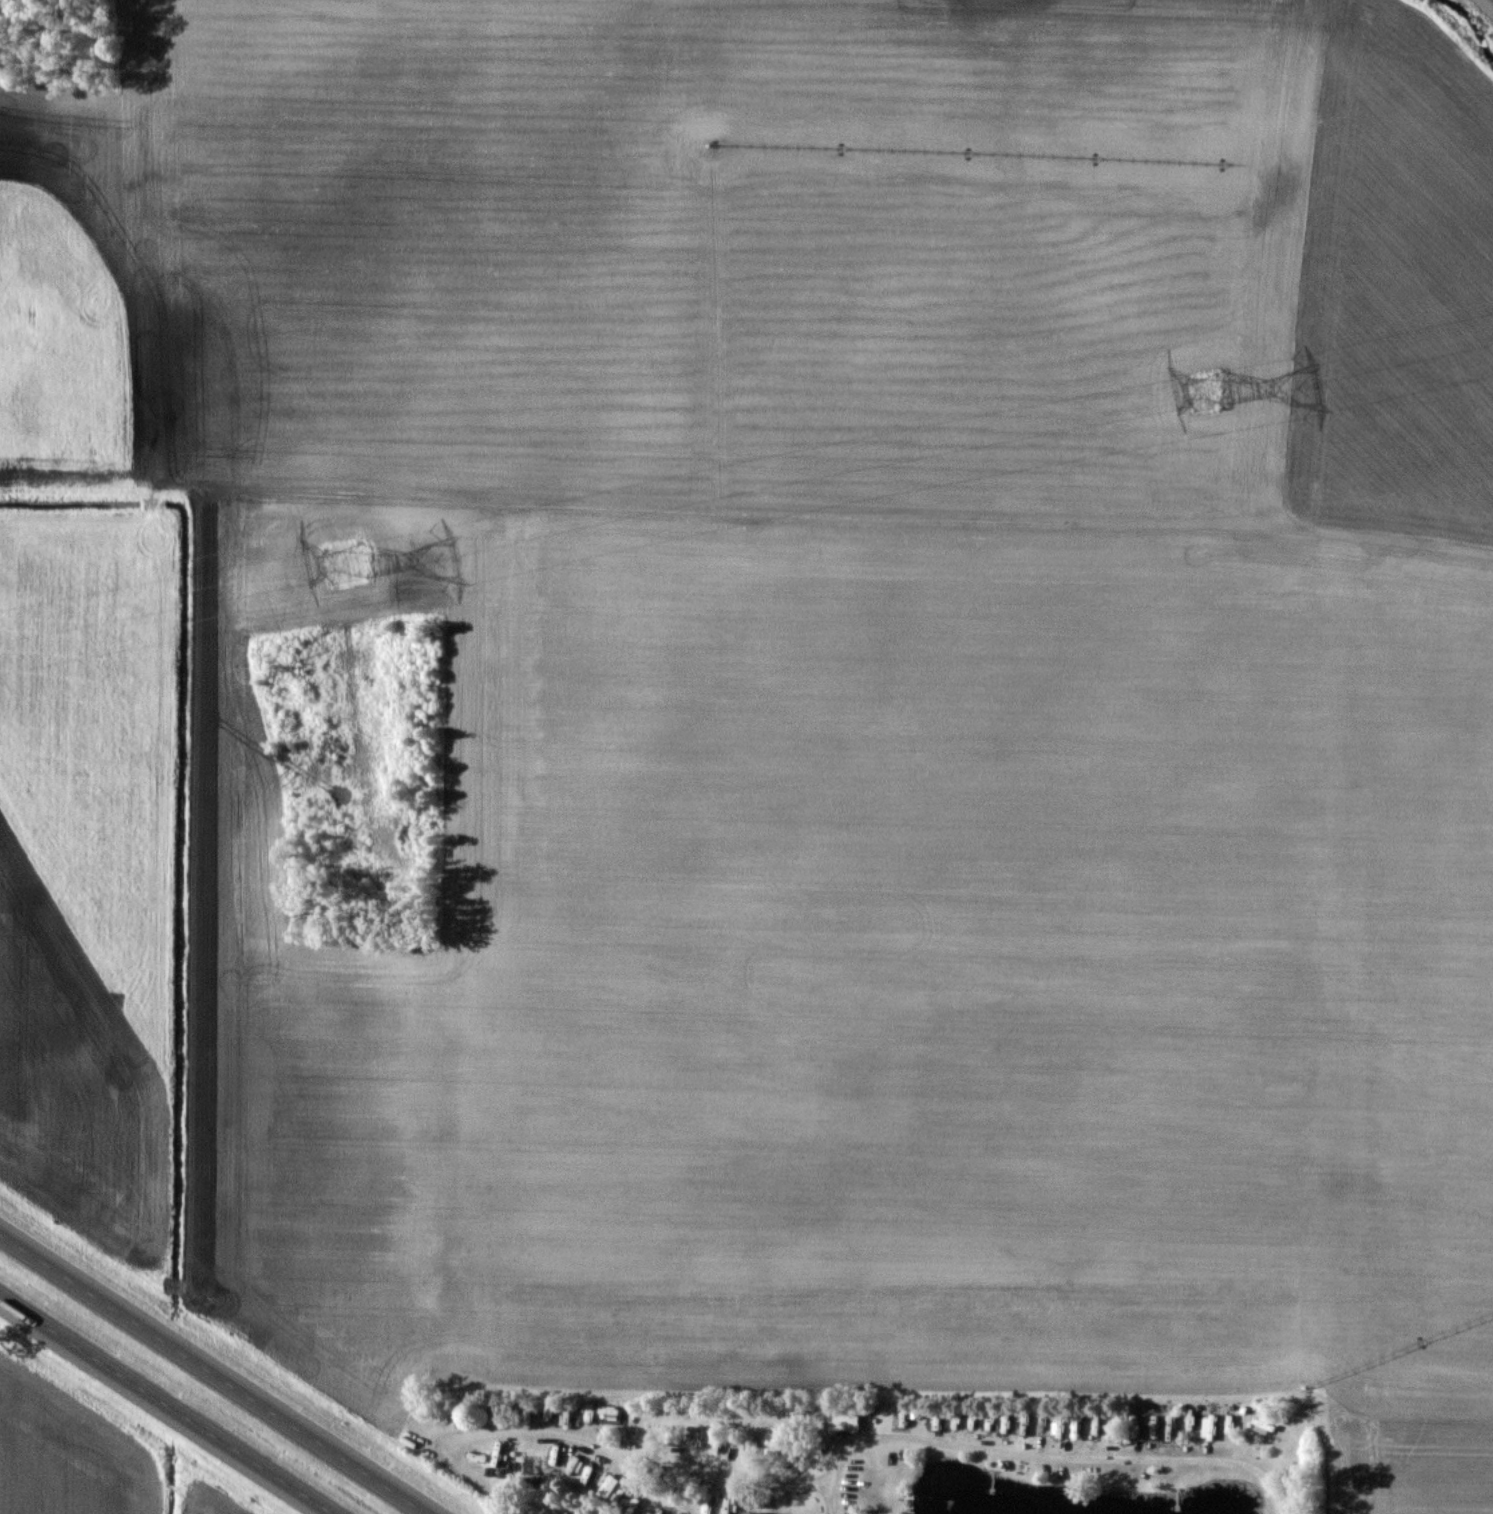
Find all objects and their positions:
power tower: (1192, 375)
power tower: (343, 541)
road: (213, 1375)
road: (166, 1405)
building: (1208, 1425)
road: (640, 1449)
road: (1034, 1459)
road: (645, 1485)
building: (746, 1513)

